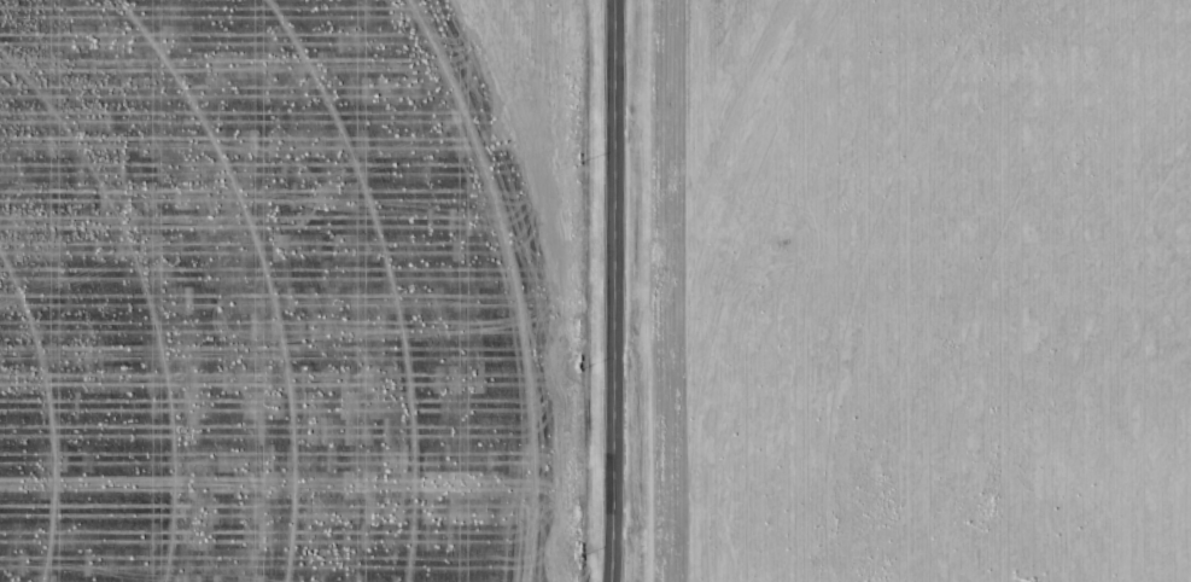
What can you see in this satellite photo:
road: (611, 291)

